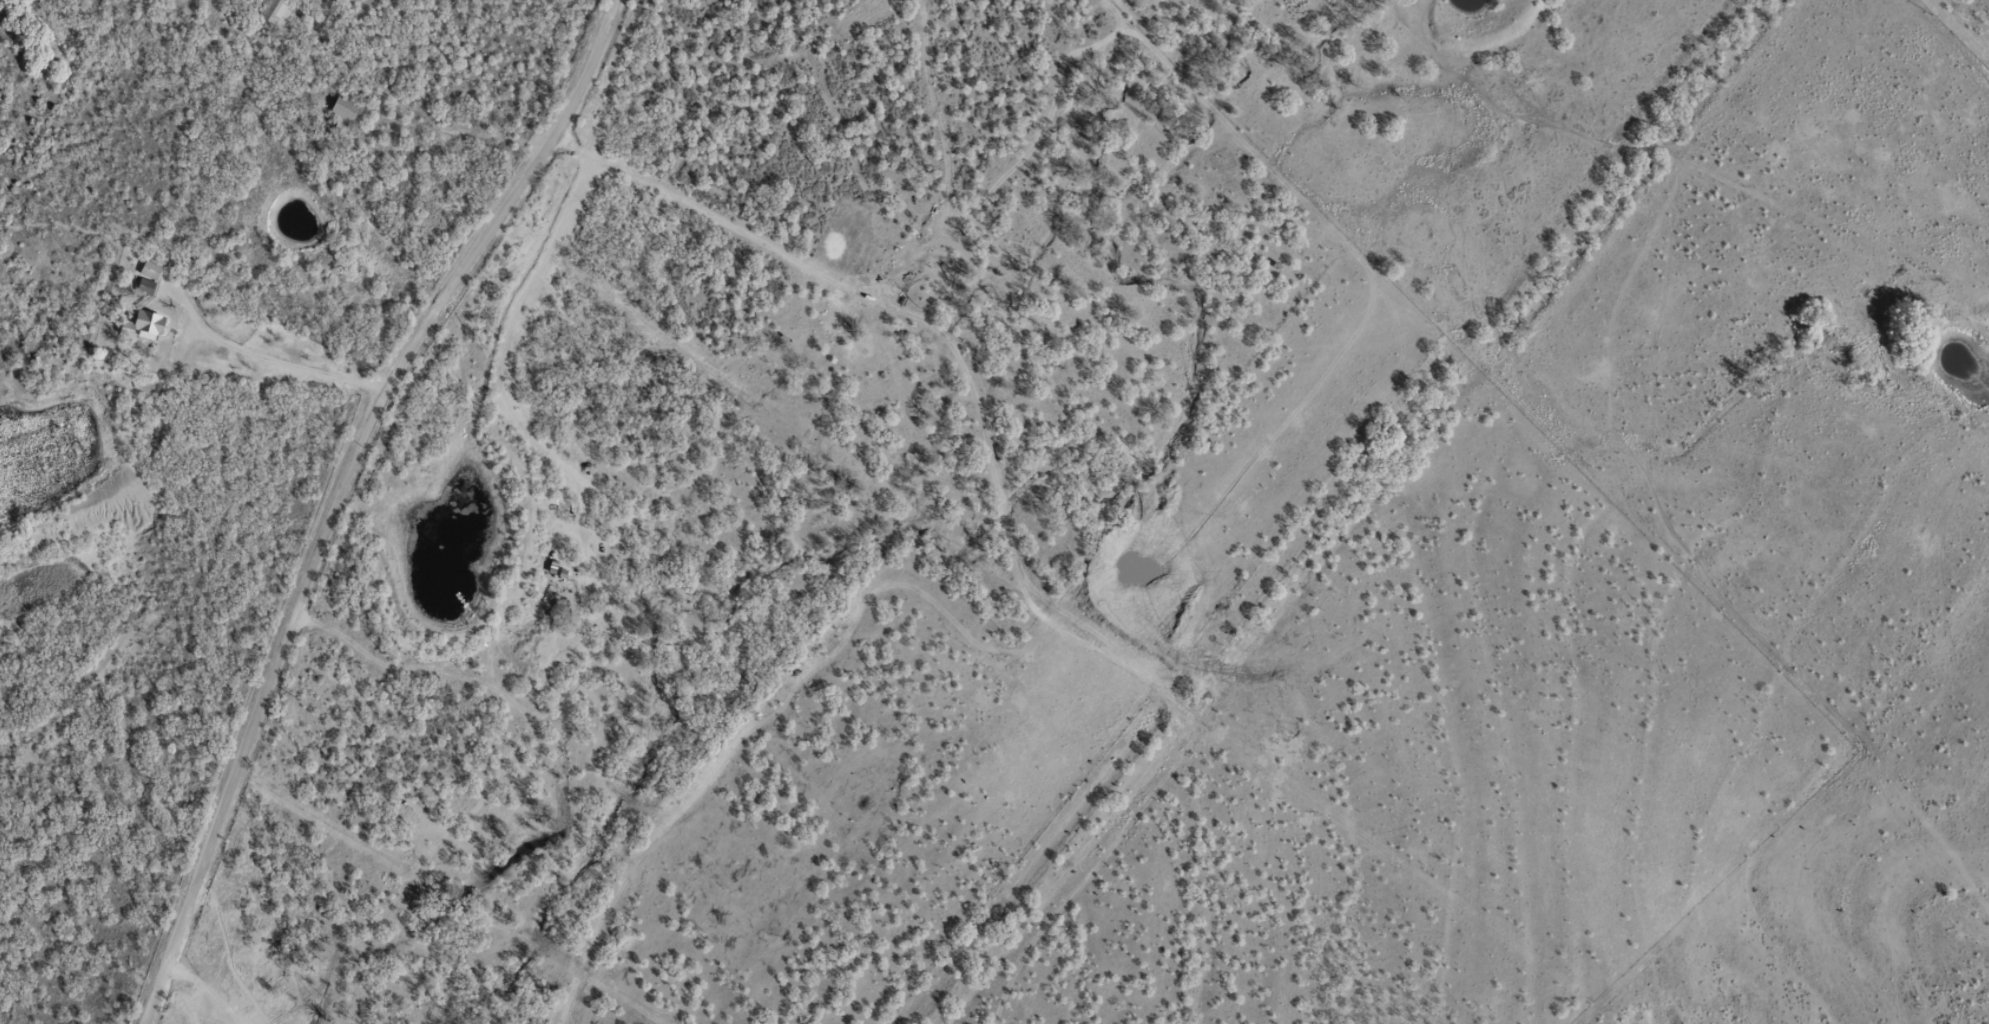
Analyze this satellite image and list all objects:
building: (274, 10)
building: (342, 117)
building: (149, 270)
building: (144, 323)
road: (286, 481)
railway: (1347, 512)

